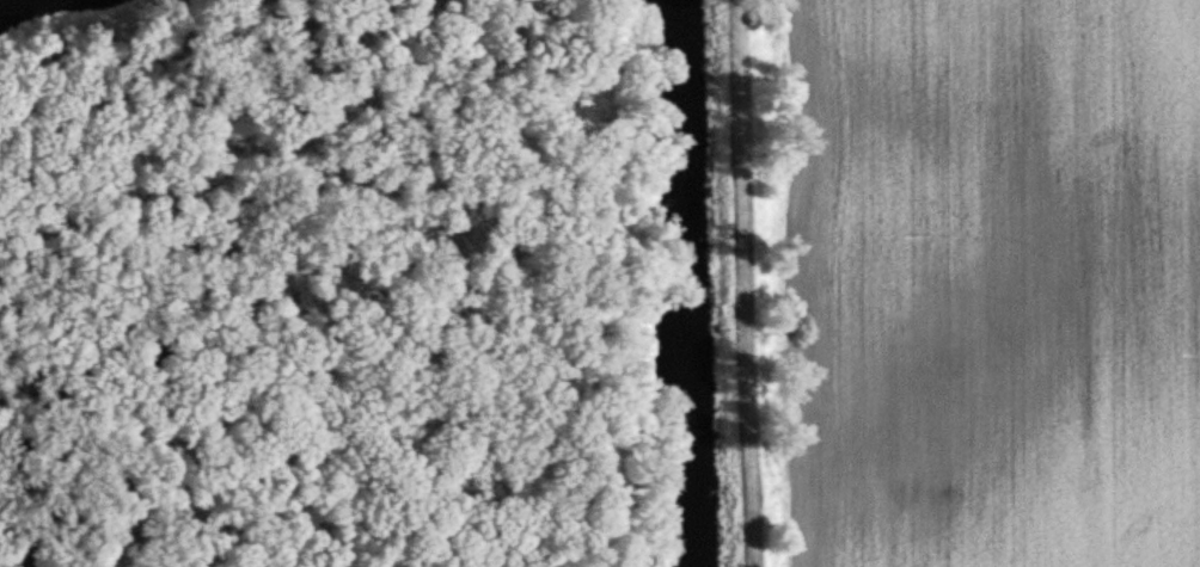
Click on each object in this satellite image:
crop: (990, 281)

